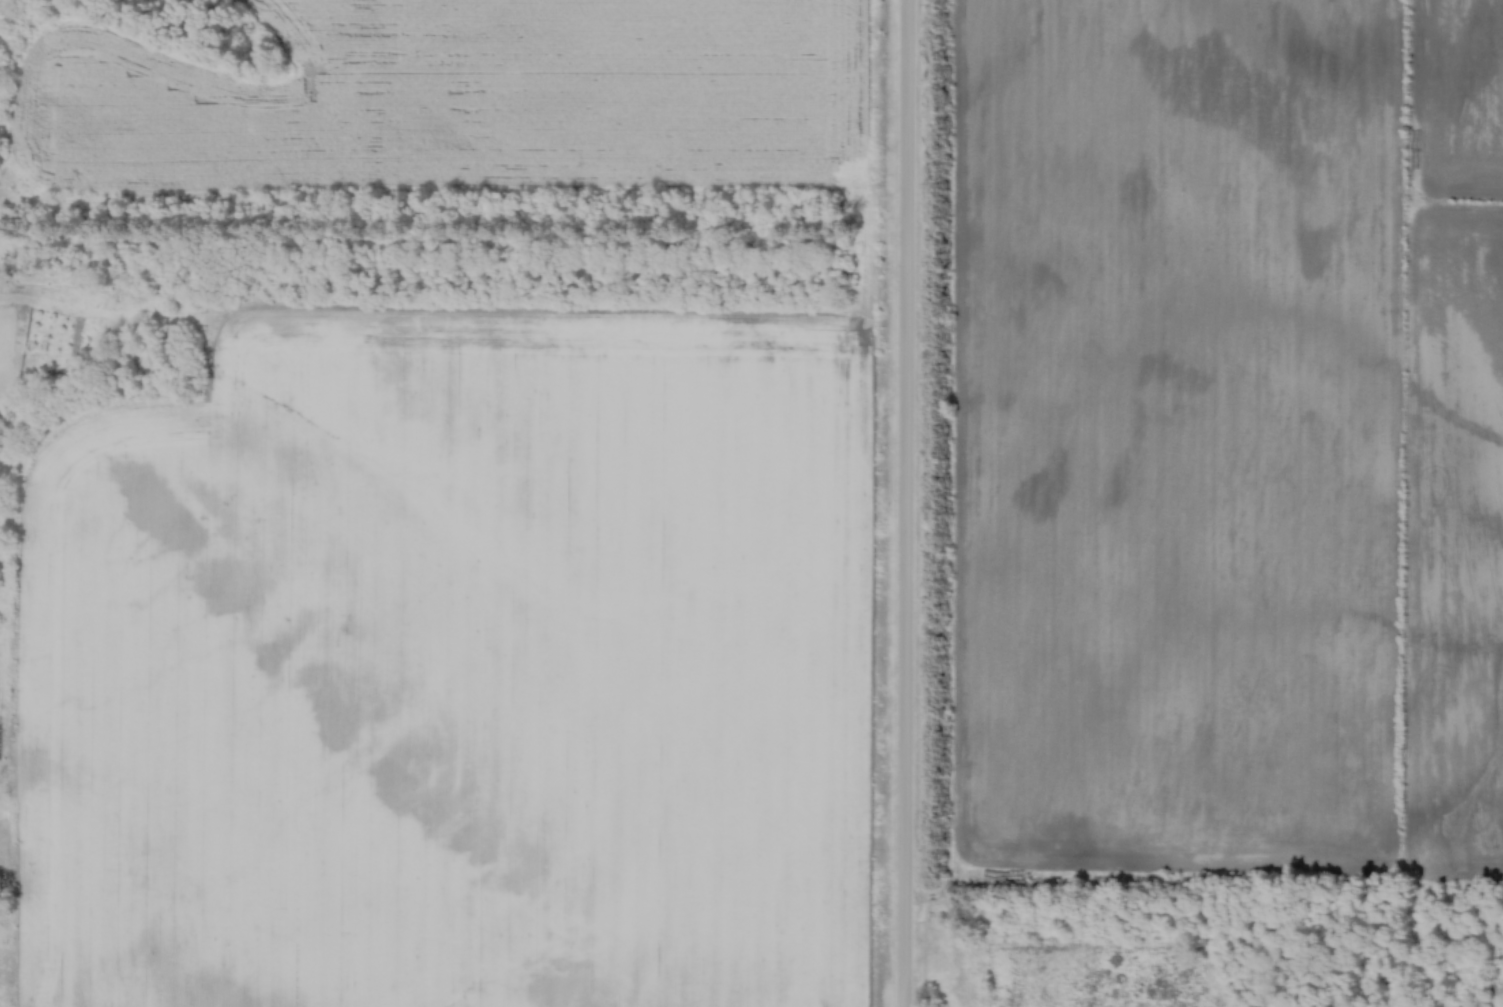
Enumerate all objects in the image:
road: (908, 503)
building: (1117, 960)

